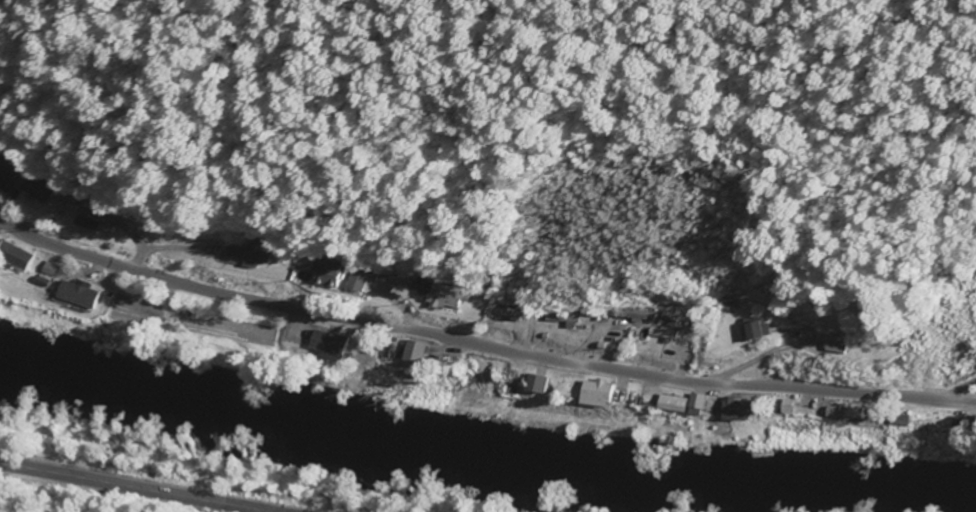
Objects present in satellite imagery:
building: (33, 189)
building: (13, 256)
building: (46, 270)
building: (318, 274)
building: (350, 282)
building: (429, 293)
building: (75, 295)
building: (749, 331)
building: (325, 345)
road: (480, 345)
building: (834, 347)
building: (409, 352)
building: (532, 385)
building: (594, 394)
building: (693, 403)
building: (669, 404)
building: (731, 410)
building: (839, 413)
river: (485, 456)
road: (135, 487)

